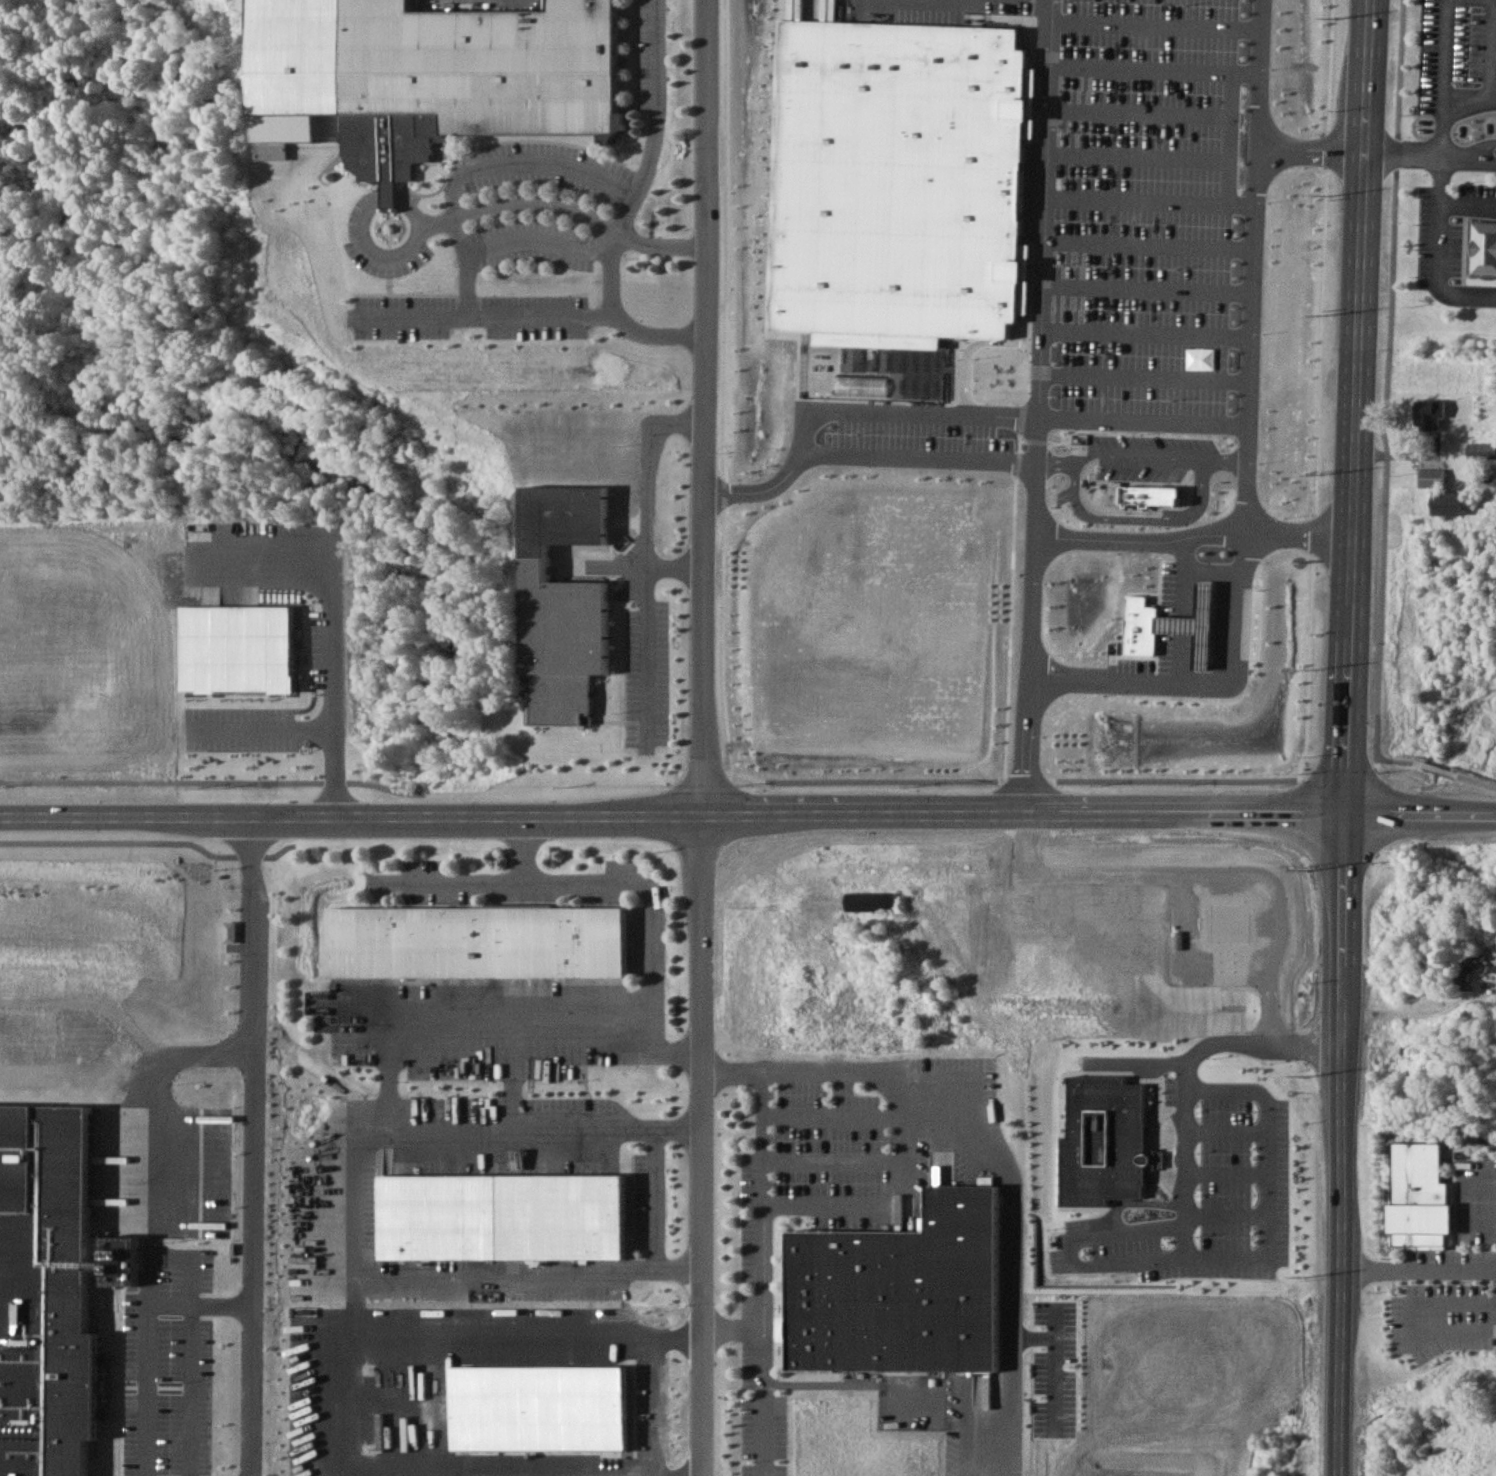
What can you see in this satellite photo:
road: (1037, 0)
road: (1493, 0)
parking lot: (953, 9)
road: (1156, 31)
road: (1489, 51)
road: (1441, 56)
road: (1328, 65)
road: (1144, 75)
building: (470, 79)
road: (1249, 81)
road: (1467, 106)
road: (1142, 118)
road: (652, 120)
road: (1235, 123)
road: (1439, 133)
road: (1312, 147)
road: (1325, 148)
road: (1467, 150)
road: (1466, 161)
road: (1140, 162)
building: (895, 170)
road: (1233, 187)
road: (450, 192)
road: (387, 200)
road: (1151, 204)
road: (1466, 207)
road: (414, 211)
parking lot: (1150, 214)
road: (1436, 215)
parking lot: (1446, 227)
road: (617, 235)
road: (529, 238)
building: (1483, 248)
road: (1149, 249)
road: (384, 255)
road: (461, 264)
road: (1253, 265)
road: (1148, 293)
road: (533, 314)
road: (1146, 338)
road: (1319, 340)
road: (1145, 381)
road: (1386, 404)
road: (1040, 405)
building: (1428, 413)
road: (923, 418)
road: (1144, 426)
parking lot: (916, 435)
building: (1479, 451)
road: (922, 465)
building: (1429, 477)
road: (784, 488)
building: (1152, 500)
building: (1445, 503)
road: (1311, 534)
road: (1195, 535)
road: (646, 557)
road: (675, 566)
road: (1189, 575)
building: (1200, 622)
building: (1142, 626)
road: (334, 644)
road: (1187, 662)
road: (1306, 668)
road: (1218, 694)
building: (592, 711)
road: (266, 728)
road: (705, 737)
road: (1349, 737)
road: (1435, 767)
road: (1334, 773)
traffic signals: (1346, 809)
road: (747, 812)
road: (524, 849)
road: (617, 883)
building: (868, 901)
building: (473, 942)
road: (97, 1003)
road: (496, 1020)
road: (164, 1102)
road: (261, 1147)
road: (999, 1157)
building: (1418, 1197)
road: (658, 1203)
road: (358, 1207)
road: (1190, 1252)
road: (1418, 1269)
road: (759, 1273)
building: (900, 1285)
road: (356, 1299)
road: (156, 1300)
road: (175, 1313)
road: (732, 1328)
road: (347, 1390)
road: (197, 1394)

